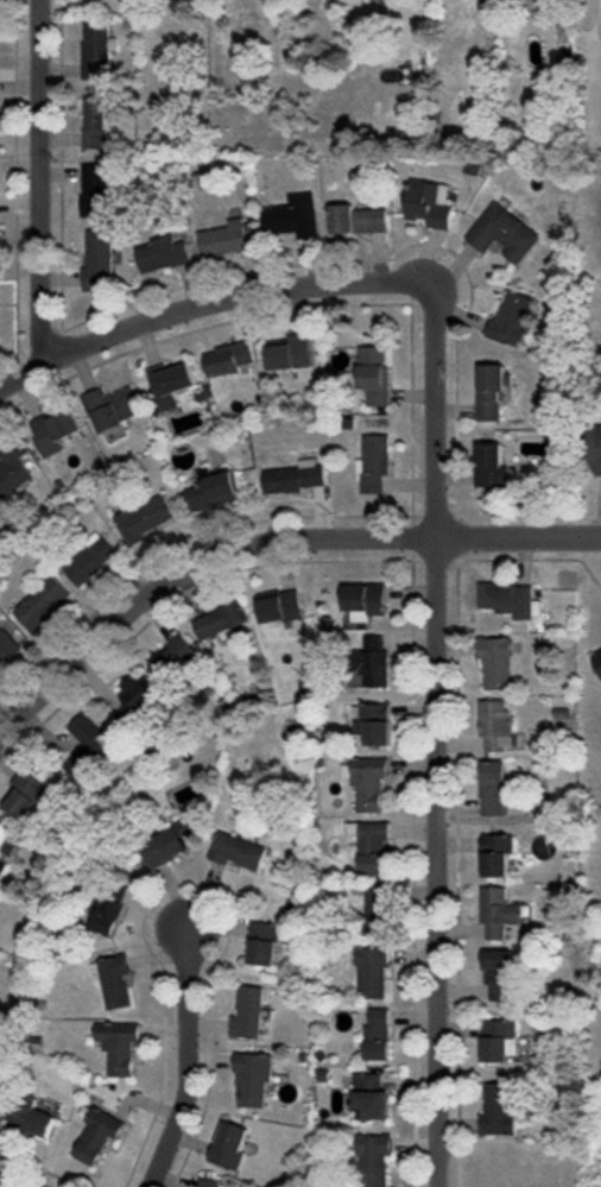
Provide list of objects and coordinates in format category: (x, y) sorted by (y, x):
building: (96, 51)
building: (96, 122)
road: (38, 176)
building: (95, 190)
building: (429, 203)
building: (293, 216)
building: (356, 220)
building: (502, 233)
building: (228, 239)
building: (162, 254)
building: (99, 261)
road: (208, 299)
building: (510, 320)
building: (291, 353)
building: (228, 359)
building: (374, 374)
building: (171, 383)
building: (492, 391)
building: (112, 408)
building: (53, 430)
building: (595, 450)
building: (373, 465)
building: (491, 466)
building: (12, 467)
building: (296, 478)
building: (214, 491)
building: (144, 518)
road: (268, 538)
building: (90, 560)
building: (511, 600)
building: (365, 601)
building: (42, 605)
building: (280, 607)
building: (221, 621)
building: (7, 645)
building: (176, 657)
building: (597, 658)
building: (373, 662)
building: (495, 662)
building: (137, 697)
building: (374, 724)
building: (496, 726)
road: (435, 734)
building: (87, 747)
building: (369, 783)
building: (493, 788)
building: (30, 795)
building: (6, 845)
building: (167, 845)
building: (373, 848)
building: (238, 851)
building: (496, 855)
building: (109, 908)
building: (377, 909)
building: (498, 913)
building: (264, 943)
building: (372, 972)
building: (499, 974)
building: (115, 981)
building: (248, 1012)
building: (377, 1035)
building: (499, 1040)
building: (118, 1047)
road: (182, 1061)
building: (252, 1079)
building: (369, 1096)
building: (498, 1110)
building: (32, 1117)
building: (96, 1136)
building: (229, 1145)
building: (374, 1160)
road: (13, 1181)
building: (209, 1182)

